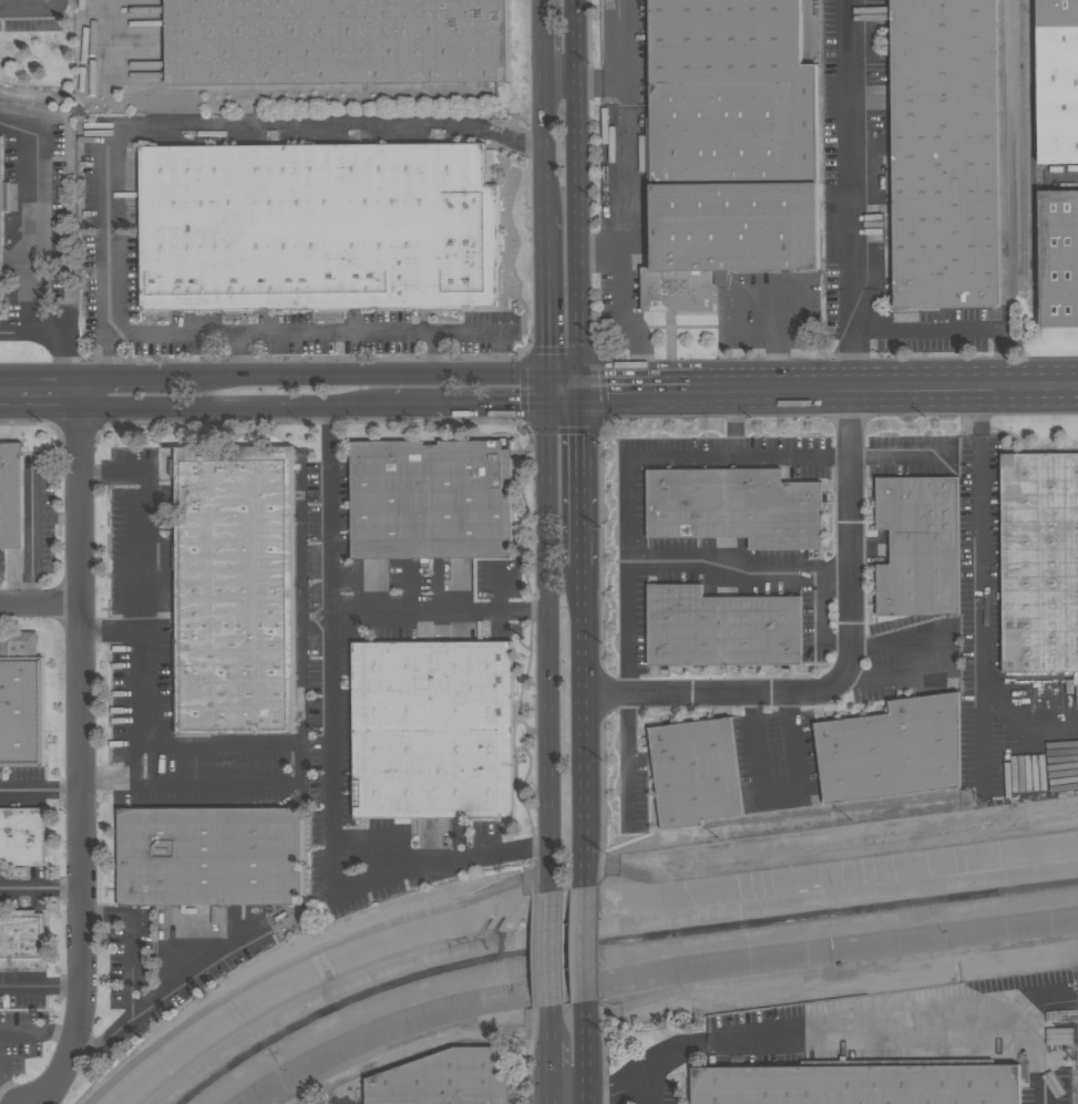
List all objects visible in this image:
road: (31, 7)
road: (103, 27)
building: (336, 41)
road: (537, 41)
road: (624, 62)
building: (1058, 80)
road: (558, 82)
railway: (246, 90)
railway: (247, 112)
road: (273, 122)
building: (729, 146)
railway: (1021, 147)
road: (540, 148)
railway: (1005, 148)
railway: (1035, 152)
building: (945, 153)
road: (624, 189)
road: (854, 193)
road: (579, 194)
road: (23, 219)
building: (2, 224)
building: (319, 227)
building: (1059, 258)
building: (720, 277)
road: (737, 297)
road: (541, 301)
road: (109, 302)
road: (625, 322)
road: (955, 328)
road: (177, 329)
road: (358, 330)
road: (57, 337)
traffic signals: (542, 345)
road: (368, 375)
road: (130, 376)
road: (885, 386)
traffic signals: (607, 388)
road: (609, 388)
road: (666, 388)
road: (562, 389)
road: (7, 390)
road: (44, 391)
road: (472, 403)
traffic signals: (522, 403)
road: (234, 404)
road: (732, 423)
traffic signals: (582, 436)
road: (582, 476)
road: (628, 483)
building: (11, 495)
building: (431, 499)
building: (736, 507)
road: (332, 508)
road: (54, 518)
road: (29, 533)
building: (918, 545)
building: (1039, 561)
road: (738, 570)
building: (235, 590)
road: (982, 594)
road: (40, 606)
road: (147, 621)
building: (720, 627)
road: (113, 630)
road: (544, 638)
road: (946, 661)
road: (850, 663)
building: (21, 700)
road: (585, 725)
building: (433, 730)
building: (890, 750)
road: (80, 753)
road: (331, 756)
building: (692, 772)
road: (299, 773)
road: (40, 788)
road: (781, 797)
building: (22, 835)
building: (209, 856)
road: (41, 886)
building: (22, 938)
road: (546, 946)
road: (588, 946)
road: (129, 947)
road: (41, 984)
road: (157, 997)
road: (546, 1023)
road: (34, 1035)
road: (802, 1035)
road: (1021, 1049)
road: (589, 1054)
road: (546, 1060)
road: (568, 1077)
road: (632, 1077)
building: (446, 1079)
building: (858, 1083)
road: (547, 1091)
road: (20, 1097)

